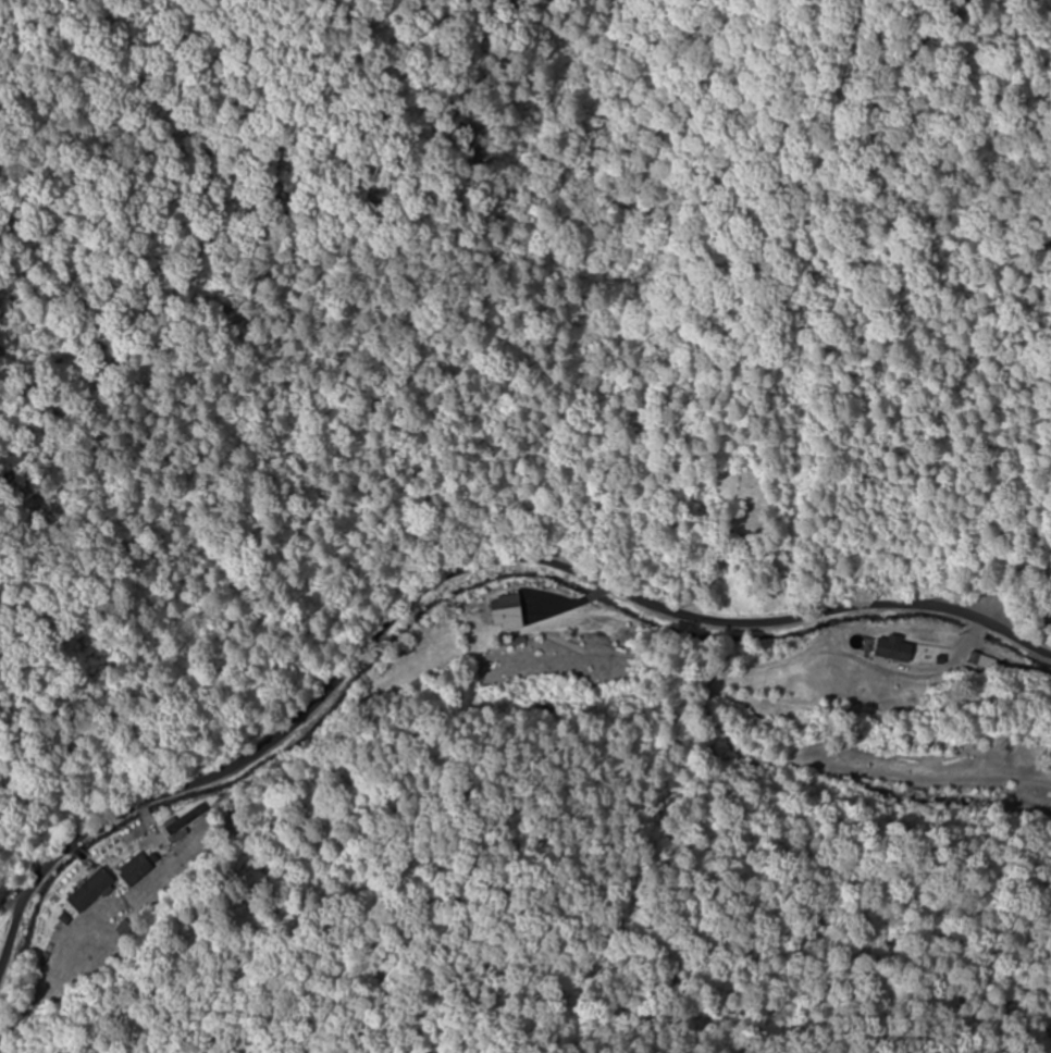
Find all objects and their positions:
building: (504, 611)
road: (481, 615)
building: (892, 648)
building: (964, 652)
building: (90, 891)

